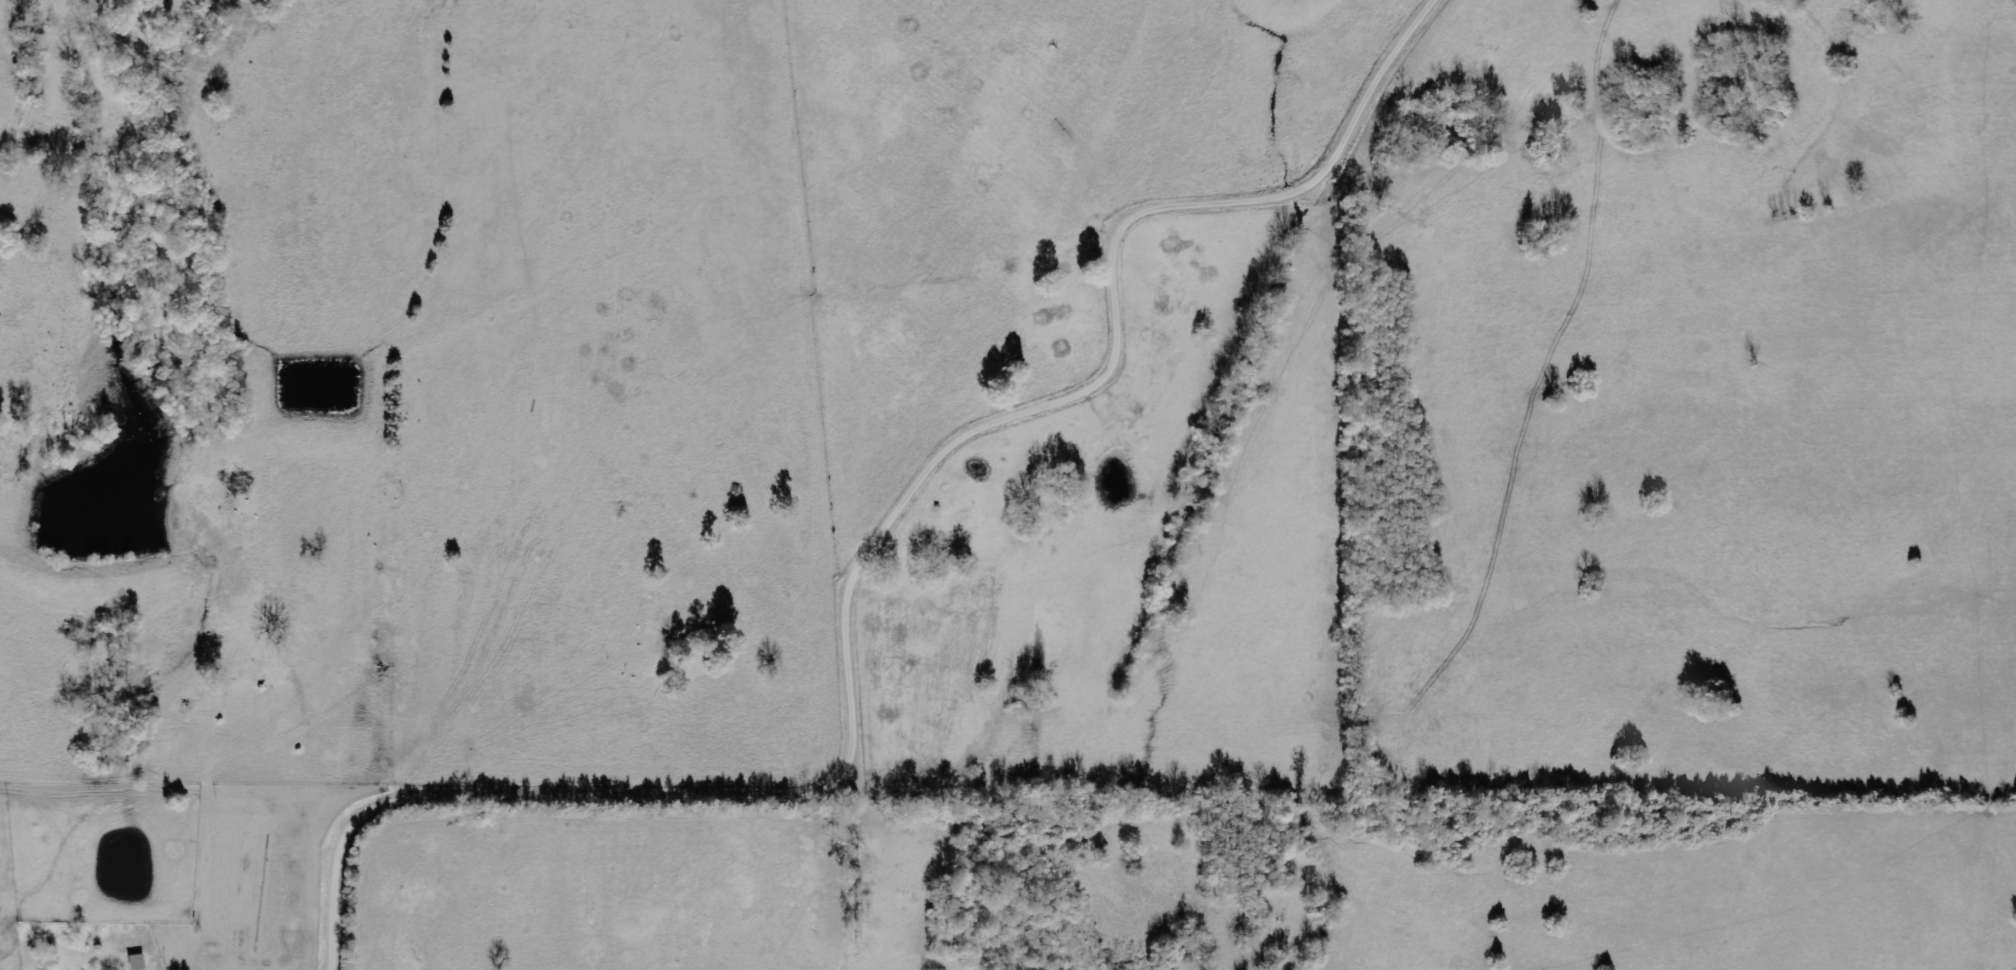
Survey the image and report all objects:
road: (874, 551)

